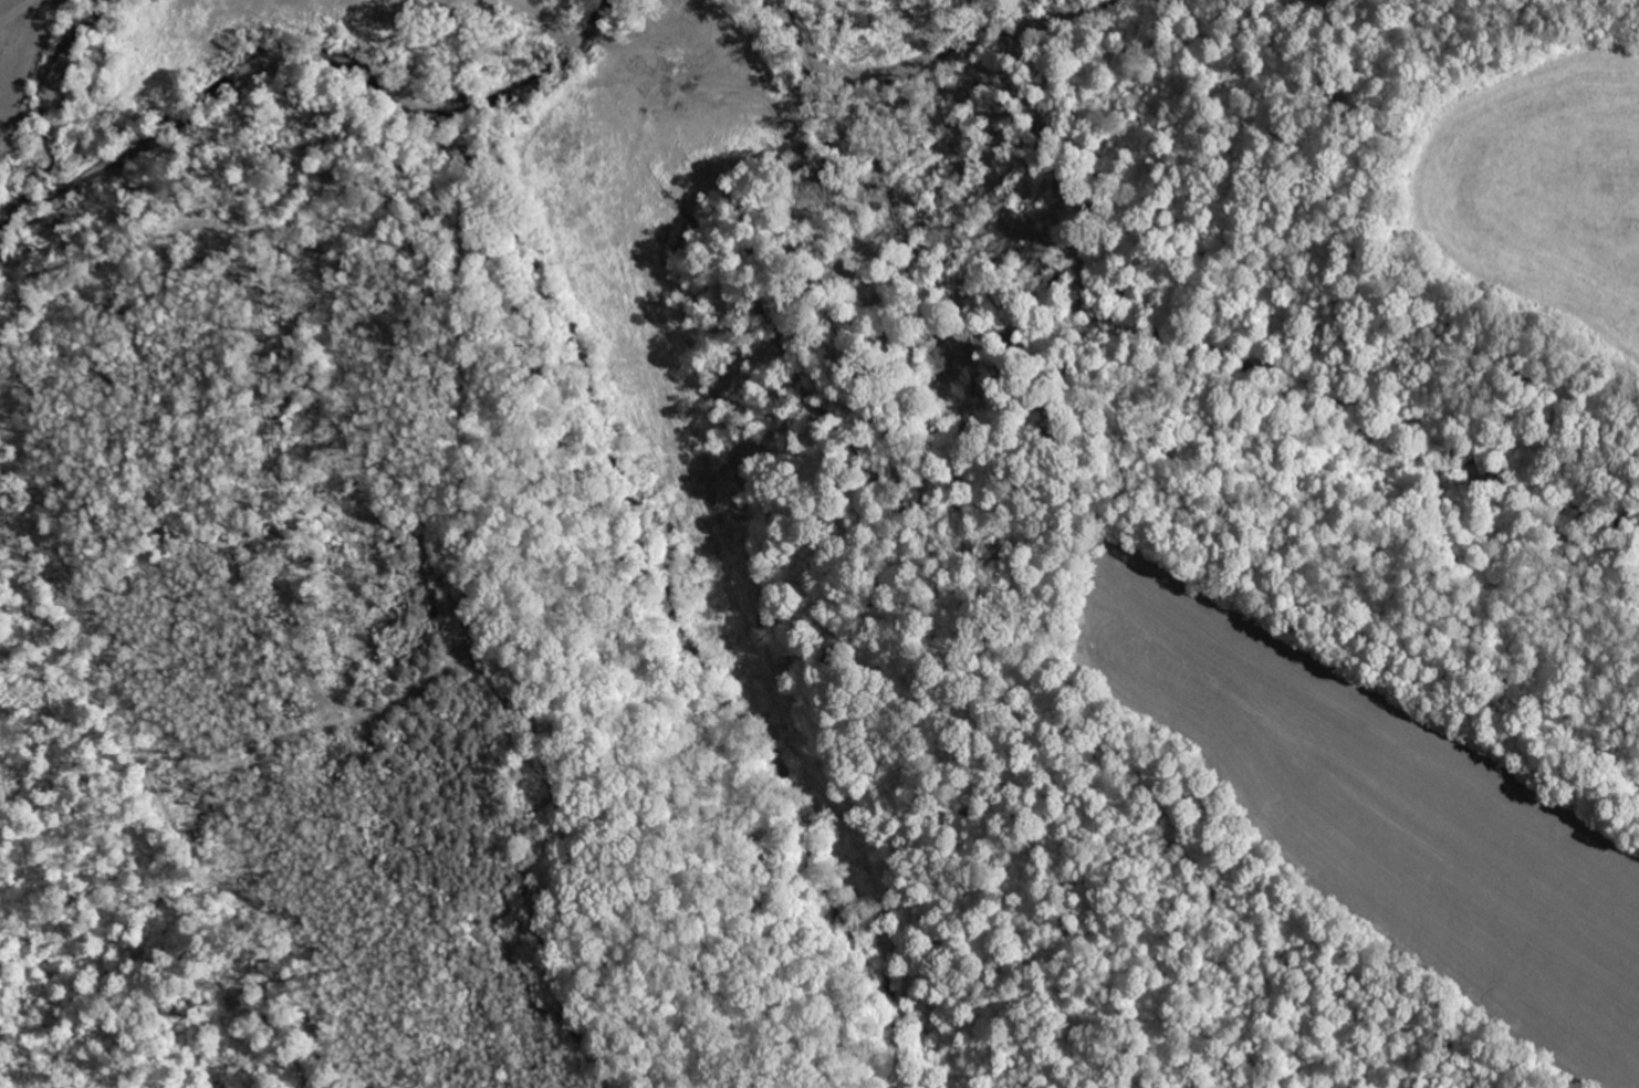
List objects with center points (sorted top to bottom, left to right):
road: (1043, 3)

